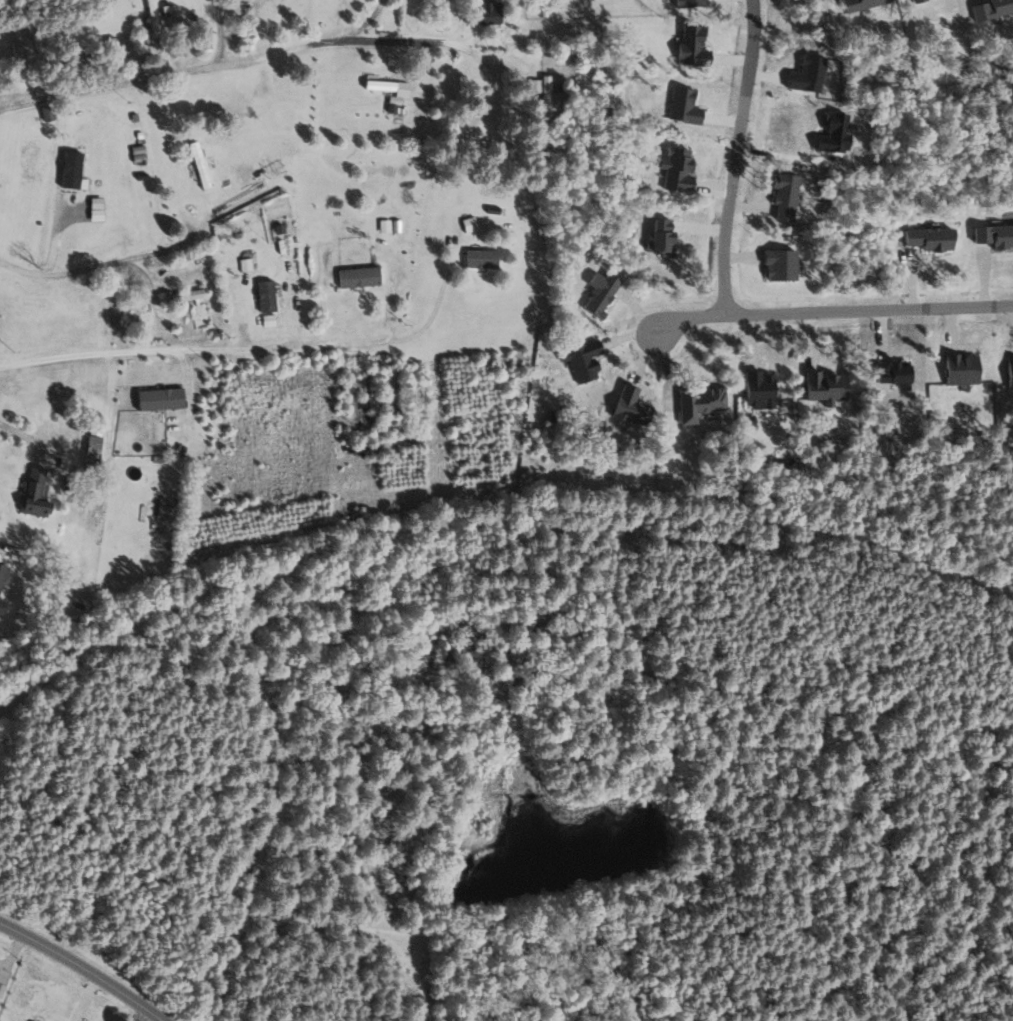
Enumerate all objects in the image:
building: (918, 1)
building: (690, 3)
building: (991, 8)
building: (488, 12)
road: (363, 23)
road: (218, 28)
building: (691, 45)
road: (268, 56)
building: (808, 73)
building: (380, 84)
building: (547, 95)
building: (393, 103)
building: (684, 105)
building: (47, 112)
building: (836, 132)
building: (73, 158)
building: (29, 159)
road: (737, 159)
building: (199, 164)
building: (677, 168)
building: (785, 195)
road: (266, 218)
building: (469, 223)
building: (660, 234)
building: (995, 234)
building: (930, 238)
building: (481, 257)
building: (780, 263)
building: (359, 276)
building: (600, 292)
building: (184, 295)
building: (266, 295)
road: (830, 314)
road: (261, 336)
building: (583, 359)
building: (961, 367)
building: (892, 372)
building: (1010, 372)
building: (824, 386)
building: (759, 388)
road: (115, 392)
building: (159, 398)
building: (699, 403)
building: (631, 406)
building: (92, 450)
building: (34, 491)
building: (163, 519)
building: (2, 574)
building: (1, 605)
road: (78, 972)
building: (2, 990)
road: (140, 1016)

